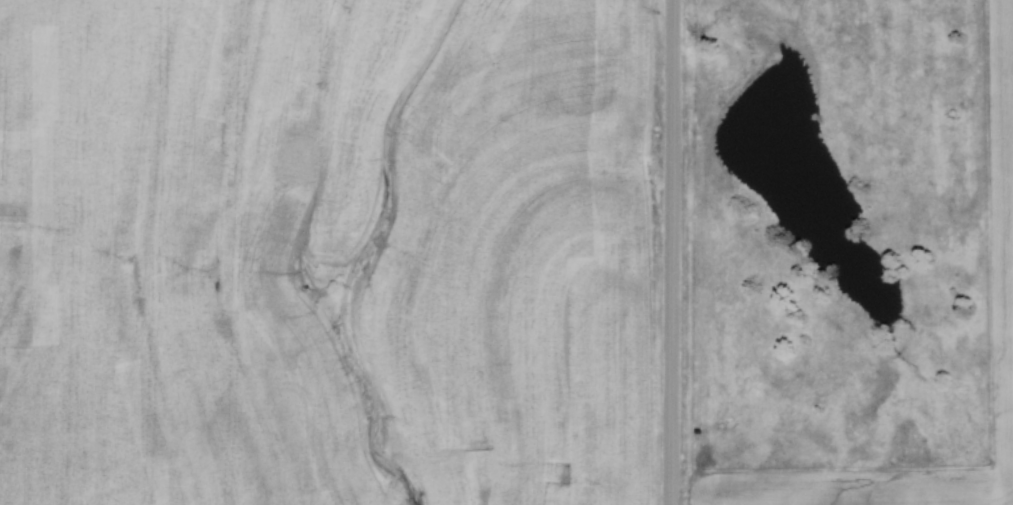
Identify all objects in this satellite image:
road: (673, 252)

